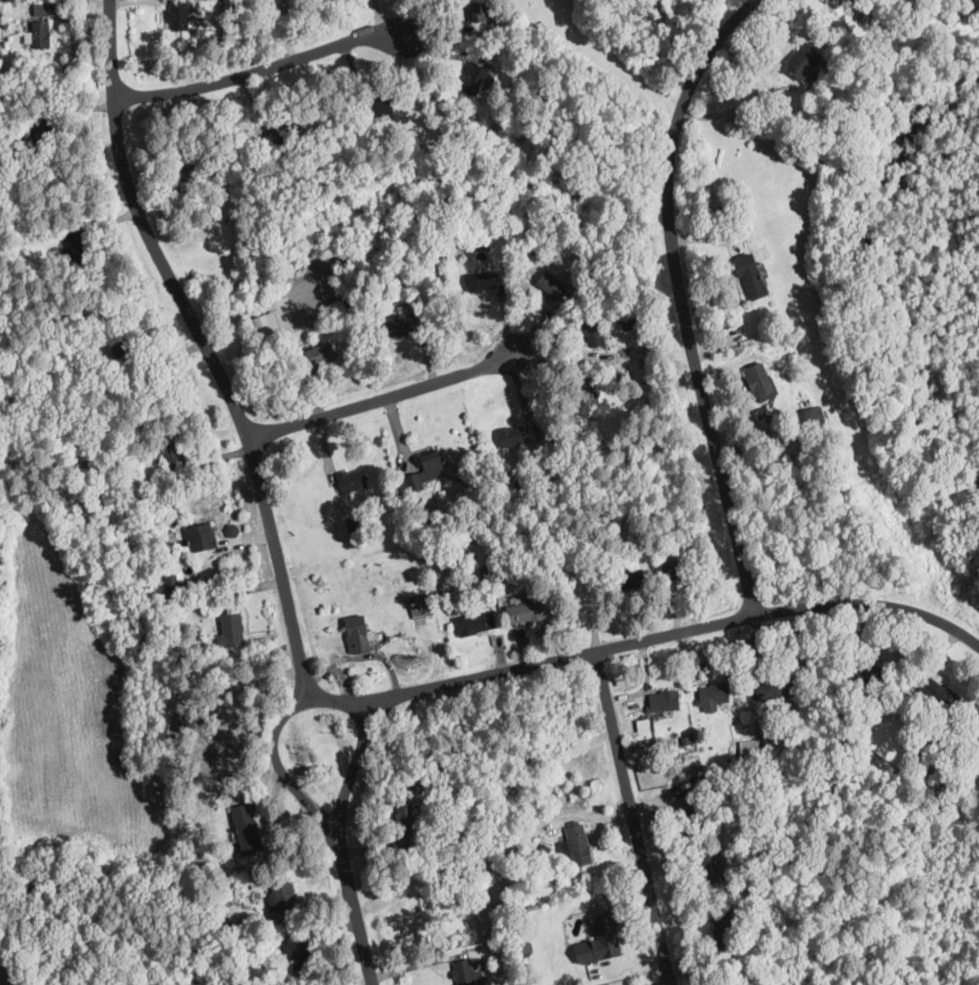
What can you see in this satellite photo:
building: (40, 7)
building: (479, 10)
building: (178, 15)
road: (284, 29)
building: (2, 31)
building: (41, 34)
building: (804, 62)
road: (263, 66)
building: (475, 78)
building: (379, 104)
building: (471, 115)
building: (48, 127)
building: (283, 136)
building: (374, 145)
building: (191, 170)
building: (214, 203)
building: (721, 213)
building: (76, 245)
building: (482, 245)
building: (533, 248)
building: (750, 275)
building: (481, 281)
building: (551, 285)
road: (686, 297)
building: (348, 301)
building: (629, 315)
building: (267, 324)
building: (399, 325)
building: (594, 332)
road: (206, 349)
building: (319, 353)
building: (125, 355)
building: (758, 379)
road: (382, 396)
building: (585, 400)
building: (805, 418)
building: (512, 436)
building: (171, 453)
building: (559, 454)
building: (568, 462)
building: (423, 471)
building: (351, 480)
building: (476, 490)
building: (430, 516)
building: (352, 525)
building: (232, 529)
building: (201, 537)
building: (681, 567)
building: (542, 568)
building: (471, 571)
building: (485, 574)
building: (675, 578)
building: (630, 579)
building: (447, 581)
building: (531, 582)
building: (180, 586)
building: (569, 587)
building: (171, 592)
building: (422, 605)
road: (870, 608)
building: (527, 611)
building: (176, 616)
building: (476, 622)
building: (230, 630)
building: (358, 634)
building: (387, 636)
road: (552, 658)
building: (865, 673)
building: (775, 688)
building: (938, 693)
building: (713, 694)
building: (663, 701)
building: (643, 724)
building: (975, 726)
building: (915, 727)
building: (702, 733)
building: (686, 739)
building: (771, 745)
building: (748, 748)
road: (274, 749)
road: (620, 752)
road: (351, 771)
building: (694, 782)
building: (946, 788)
building: (696, 806)
building: (246, 828)
building: (404, 828)
building: (578, 845)
building: (545, 849)
building: (712, 865)
building: (212, 895)
building: (282, 895)
road: (353, 908)
building: (491, 921)
building: (236, 928)
building: (723, 929)
building: (600, 938)
building: (297, 948)
building: (496, 948)
building: (466, 973)
building: (288, 981)
building: (513, 983)
building: (607, 984)

